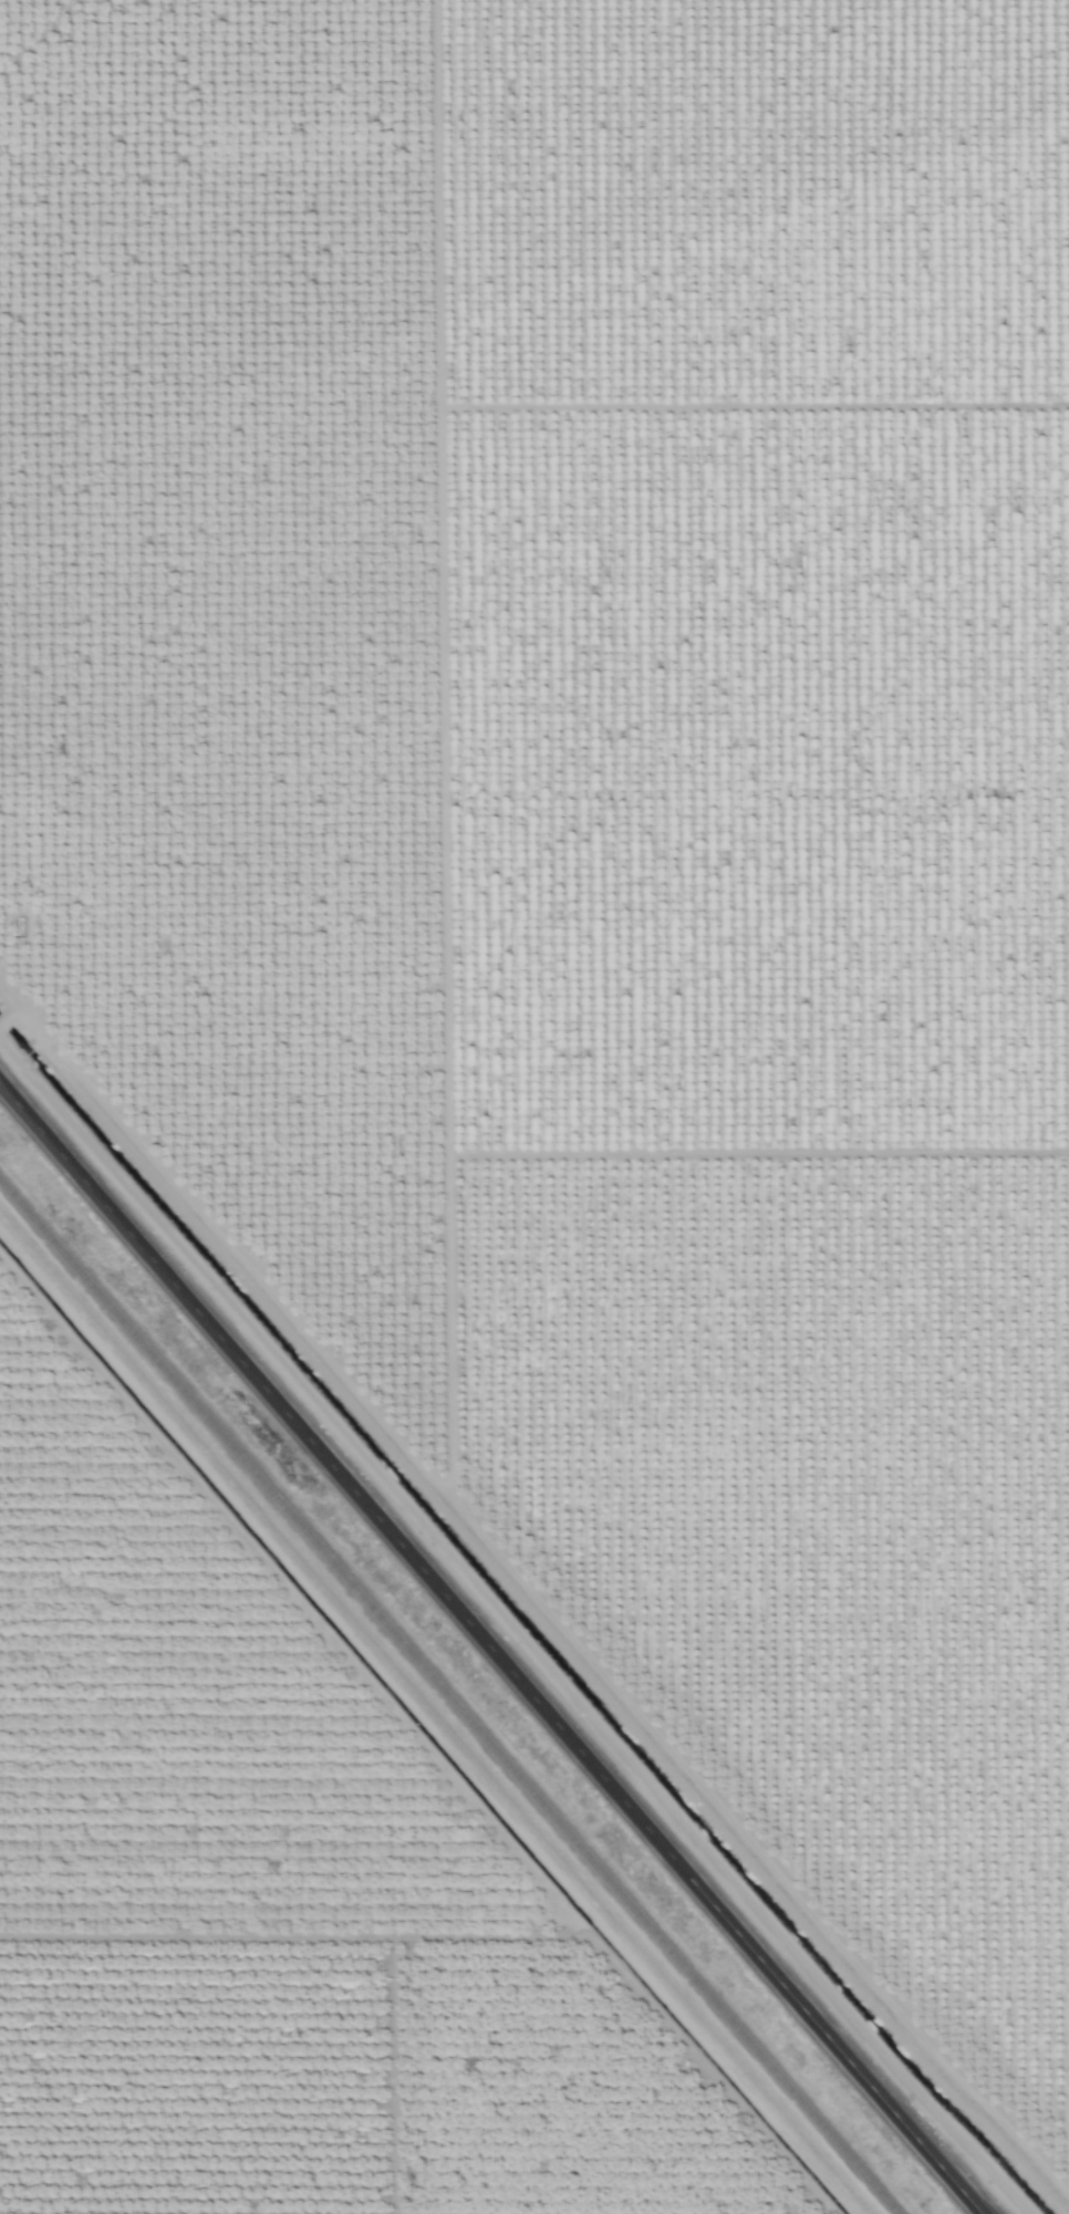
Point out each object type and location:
crop: (599, 876)
road: (490, 1649)
railway: (447, 1698)
building: (17, 1760)
building: (362, 1792)
crop: (248, 1924)

